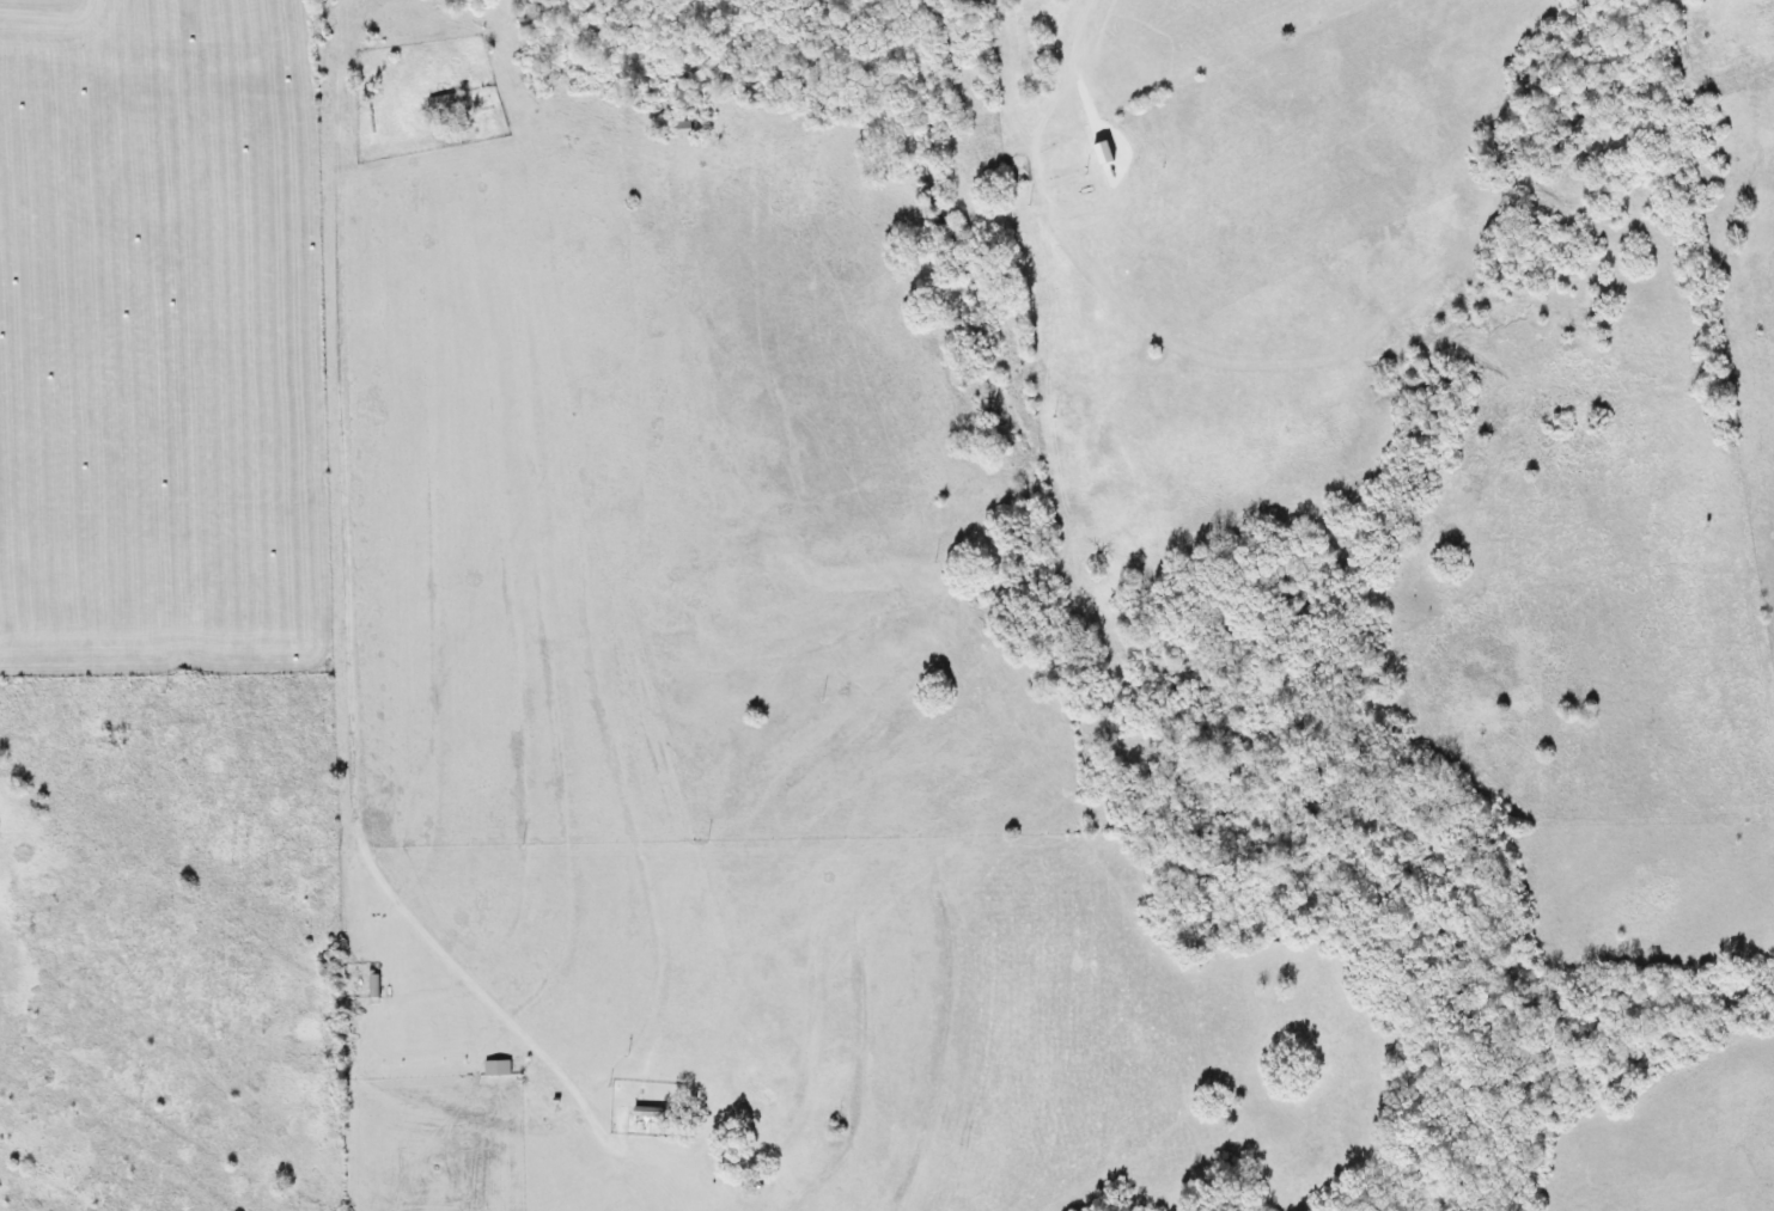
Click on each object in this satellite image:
building: (449, 105)
road: (359, 619)
building: (504, 1068)

